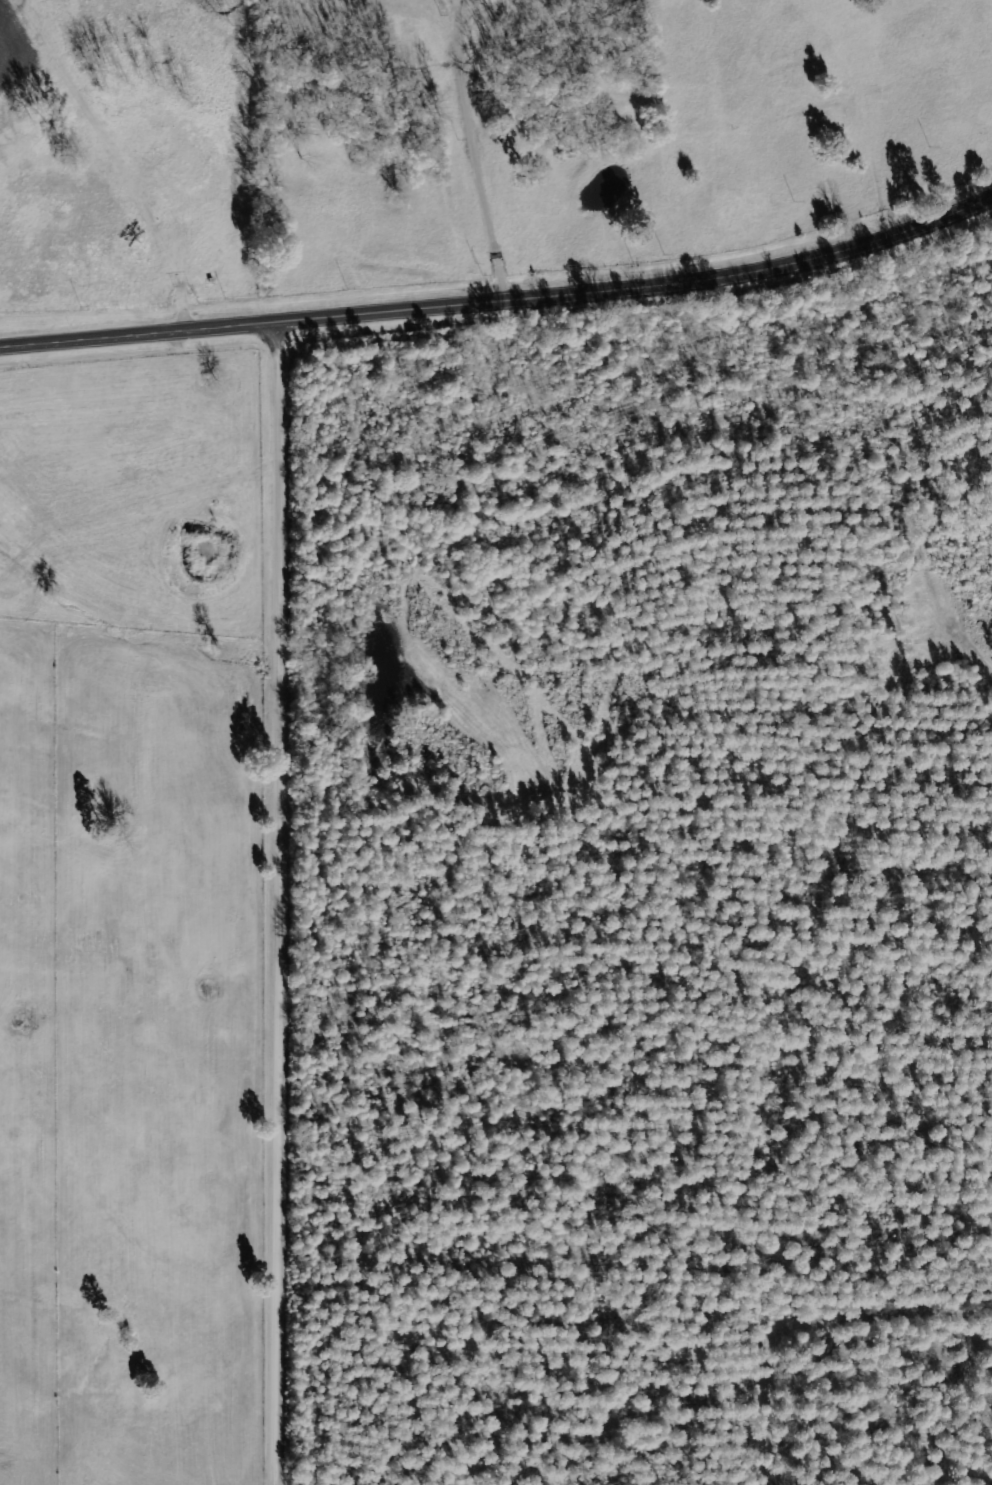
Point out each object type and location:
road: (501, 302)
road: (287, 901)

